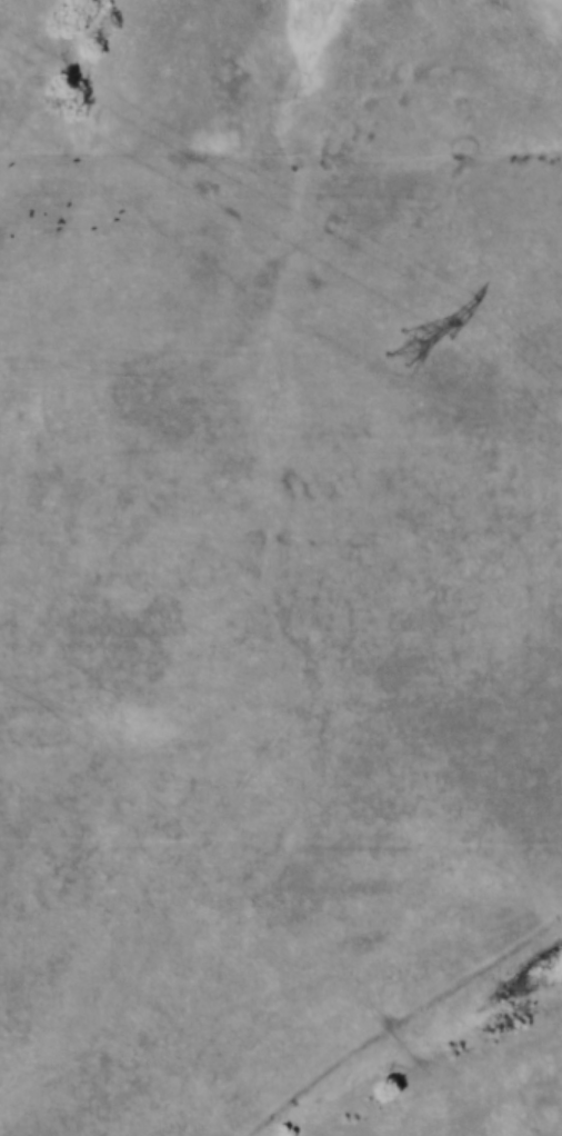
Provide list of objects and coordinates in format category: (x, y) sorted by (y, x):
power tower: (409, 349)
road: (403, 1047)

